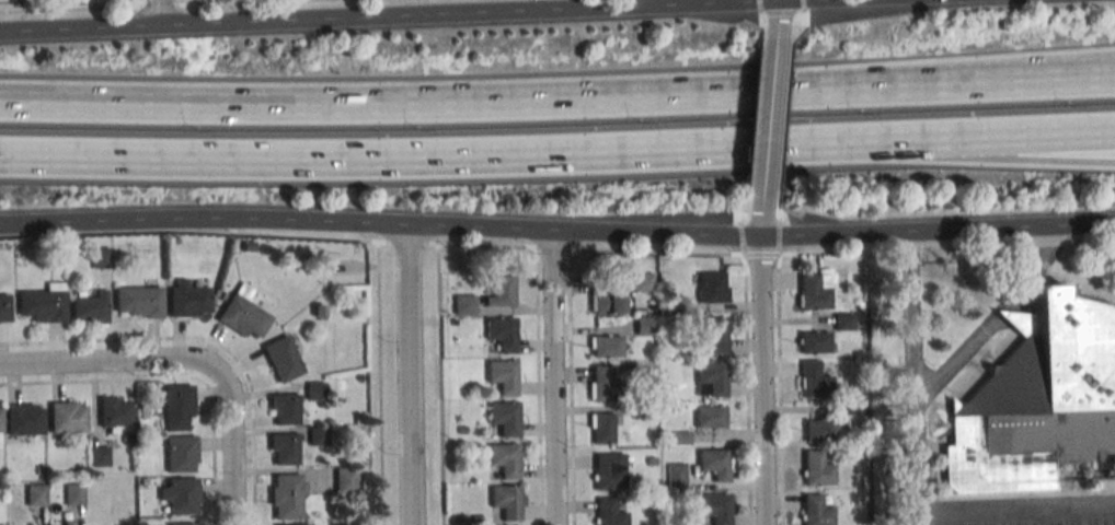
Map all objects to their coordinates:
road: (189, 1)
road: (831, 1)
road: (777, 2)
road: (130, 3)
road: (137, 5)
road: (765, 5)
road: (797, 7)
road: (524, 8)
road: (651, 9)
road: (390, 10)
road: (158, 13)
road: (458, 17)
road: (275, 24)
road: (80, 27)
road: (766, 39)
road: (794, 39)
road: (773, 61)
road: (1074, 75)
road: (789, 91)
road: (760, 96)
road: (557, 102)
road: (1076, 133)
road: (958, 139)
road: (783, 145)
road: (756, 152)
road: (440, 156)
road: (997, 156)
road: (766, 177)
road: (779, 198)
road: (750, 201)
road: (203, 218)
road: (481, 226)
road: (938, 229)
road: (657, 232)
road: (780, 237)
road: (743, 240)
building: (175, 241)
road: (372, 242)
building: (249, 247)
road: (947, 248)
road: (763, 255)
building: (101, 257)
road: (1036, 266)
building: (642, 281)
building: (712, 287)
building: (814, 291)
building: (501, 293)
building: (188, 300)
building: (138, 301)
building: (606, 302)
building: (42, 303)
building: (464, 304)
building: (674, 304)
building: (89, 305)
building: (860, 305)
building: (4, 308)
building: (319, 311)
road: (996, 311)
building: (242, 313)
building: (846, 320)
building: (645, 325)
building: (502, 332)
building: (716, 335)
road: (206, 340)
building: (814, 341)
building: (606, 346)
building: (281, 358)
road: (954, 358)
road: (112, 367)
road: (410, 374)
building: (504, 375)
road: (556, 376)
road: (916, 376)
road: (174, 377)
building: (710, 378)
road: (763, 380)
building: (814, 380)
road: (380, 384)
road: (440, 385)
building: (605, 386)
road: (538, 387)
road: (571, 387)
road: (748, 388)
road: (780, 389)
building: (315, 390)
building: (1037, 399)
building: (176, 406)
building: (284, 409)
building: (855, 409)
building: (646, 411)
building: (114, 413)
building: (710, 416)
building: (67, 417)
building: (504, 417)
building: (24, 419)
building: (0, 420)
building: (601, 428)
building: (818, 430)
building: (462, 431)
building: (318, 435)
building: (681, 439)
building: (284, 448)
building: (181, 453)
road: (230, 453)
building: (99, 455)
building: (504, 459)
building: (651, 462)
building: (714, 464)
building: (816, 468)
building: (609, 470)
building: (39, 471)
building: (676, 474)
building: (345, 479)
building: (145, 482)
building: (73, 493)
building: (36, 494)
building: (179, 494)
building: (287, 495)
building: (507, 501)
building: (715, 506)
road: (1023, 509)
building: (815, 510)
building: (609, 512)
road: (926, 518)
building: (478, 520)
building: (69, 523)
building: (183, 524)
building: (291, 524)

